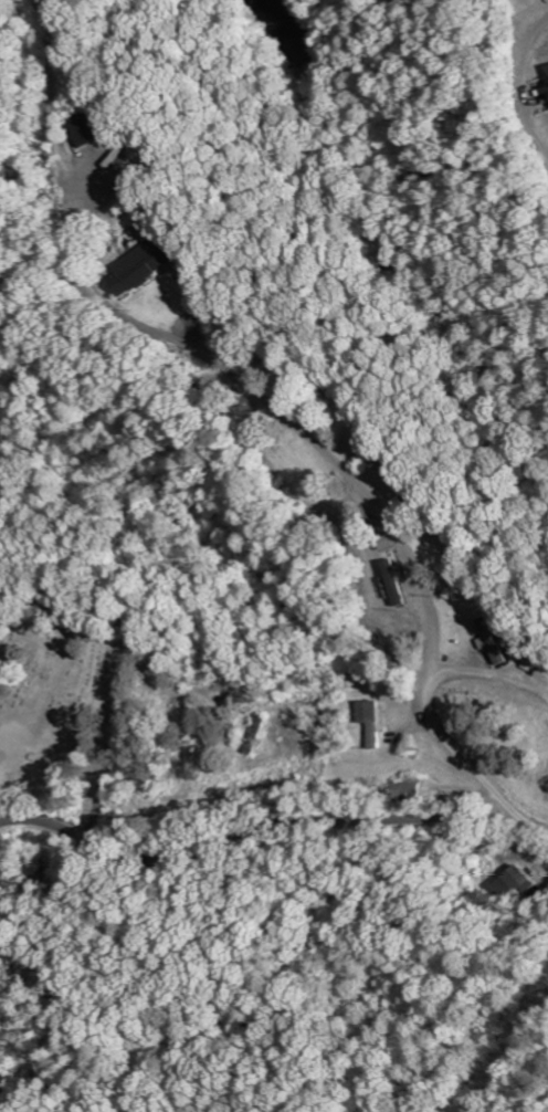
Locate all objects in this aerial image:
building: (546, 75)
road: (525, 86)
building: (98, 129)
building: (147, 267)
road: (330, 463)
building: (398, 581)
building: (491, 641)
road: (131, 660)
park: (56, 705)
building: (371, 723)
road: (264, 836)
building: (510, 882)

